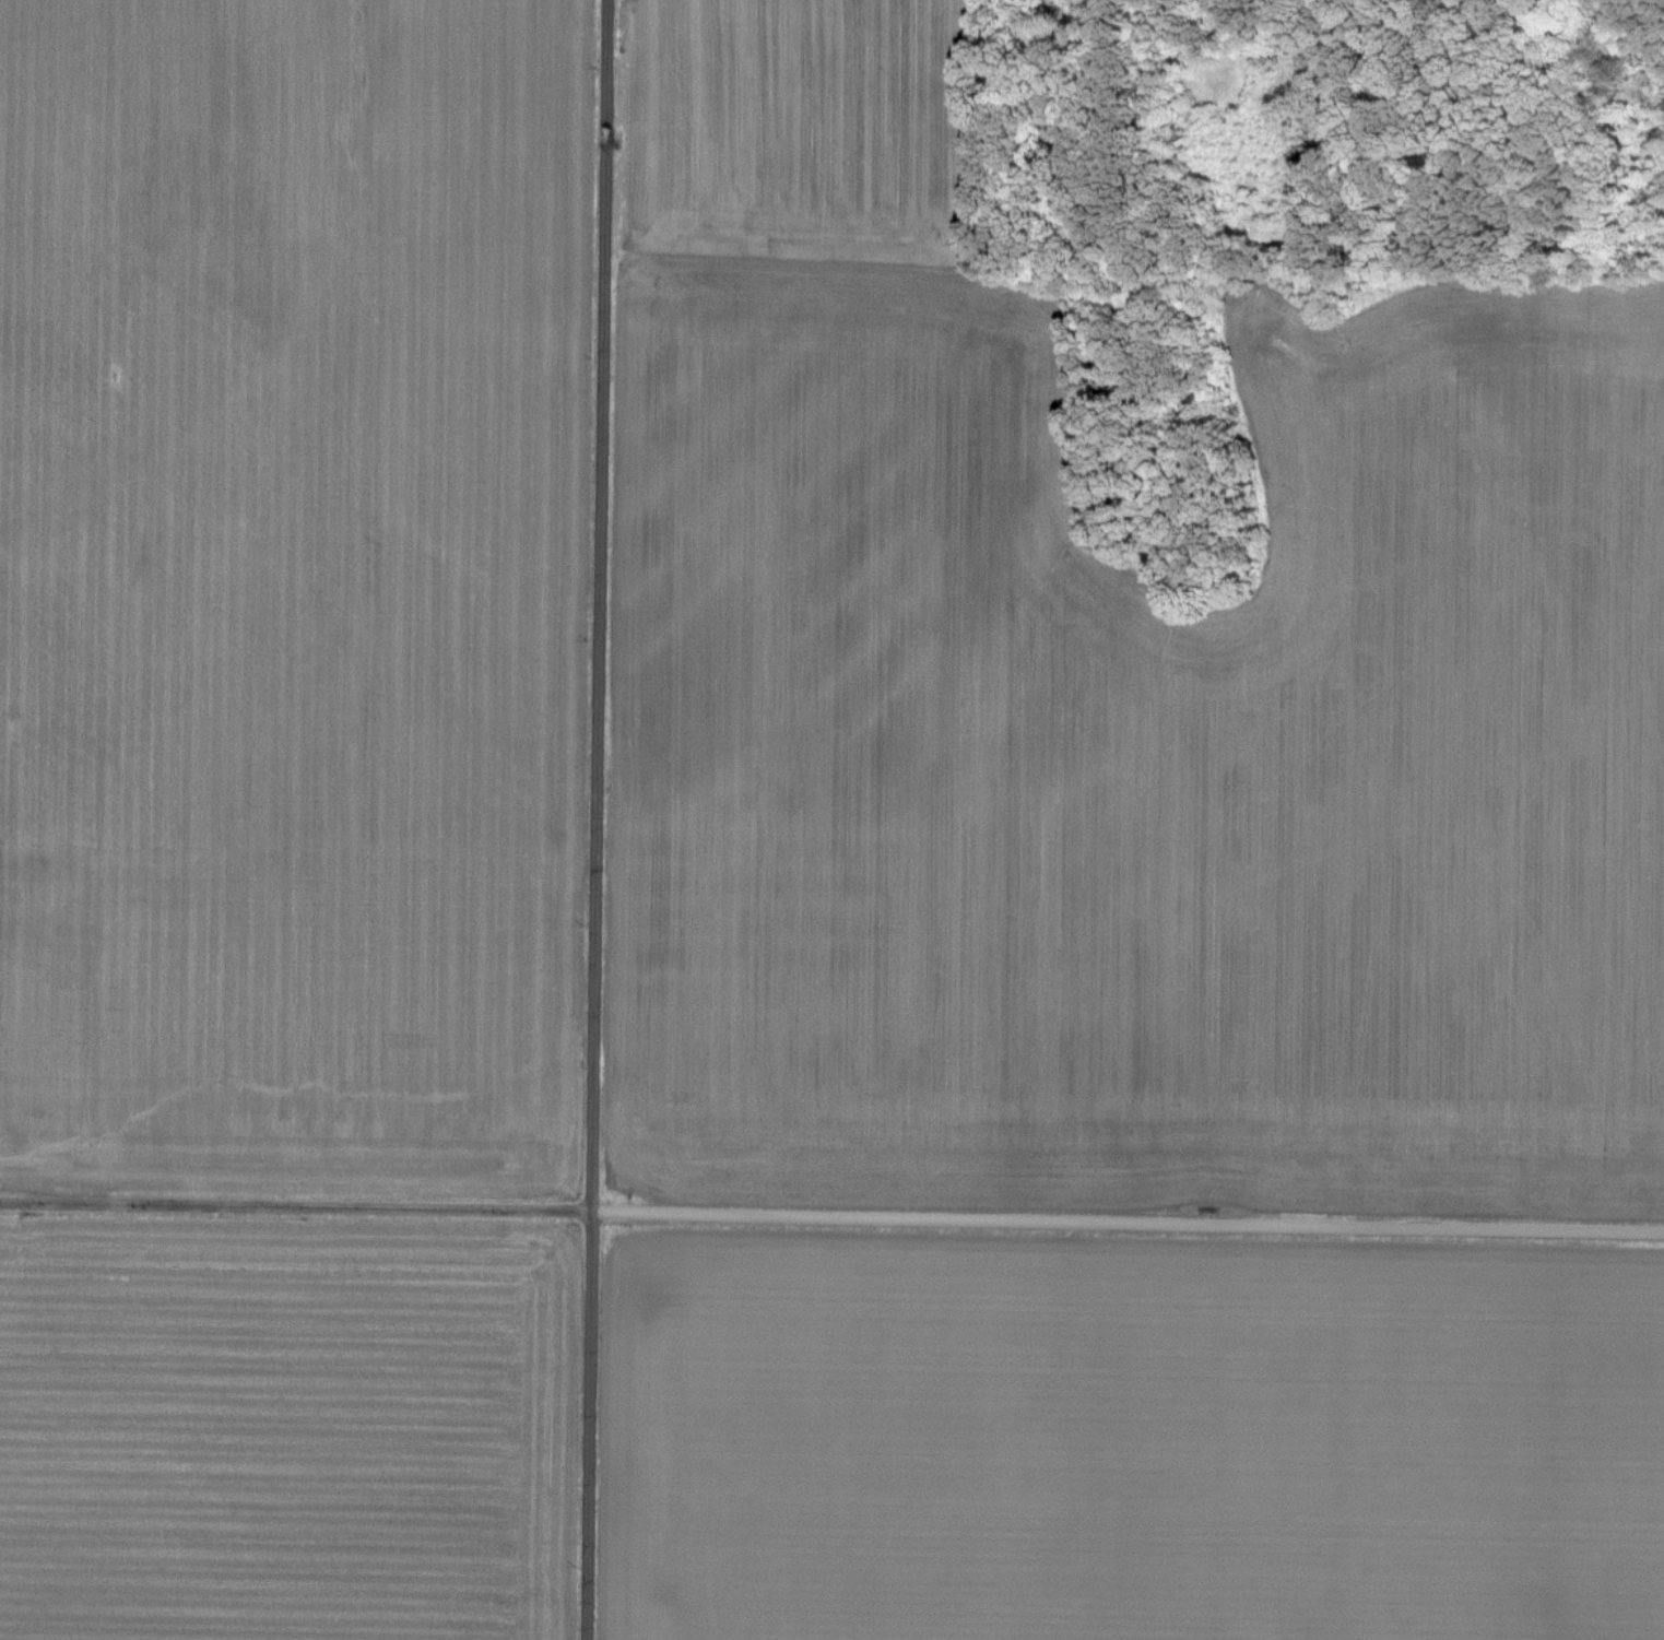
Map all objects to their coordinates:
road: (1218, 12)
road: (600, 819)
road: (831, 1223)

